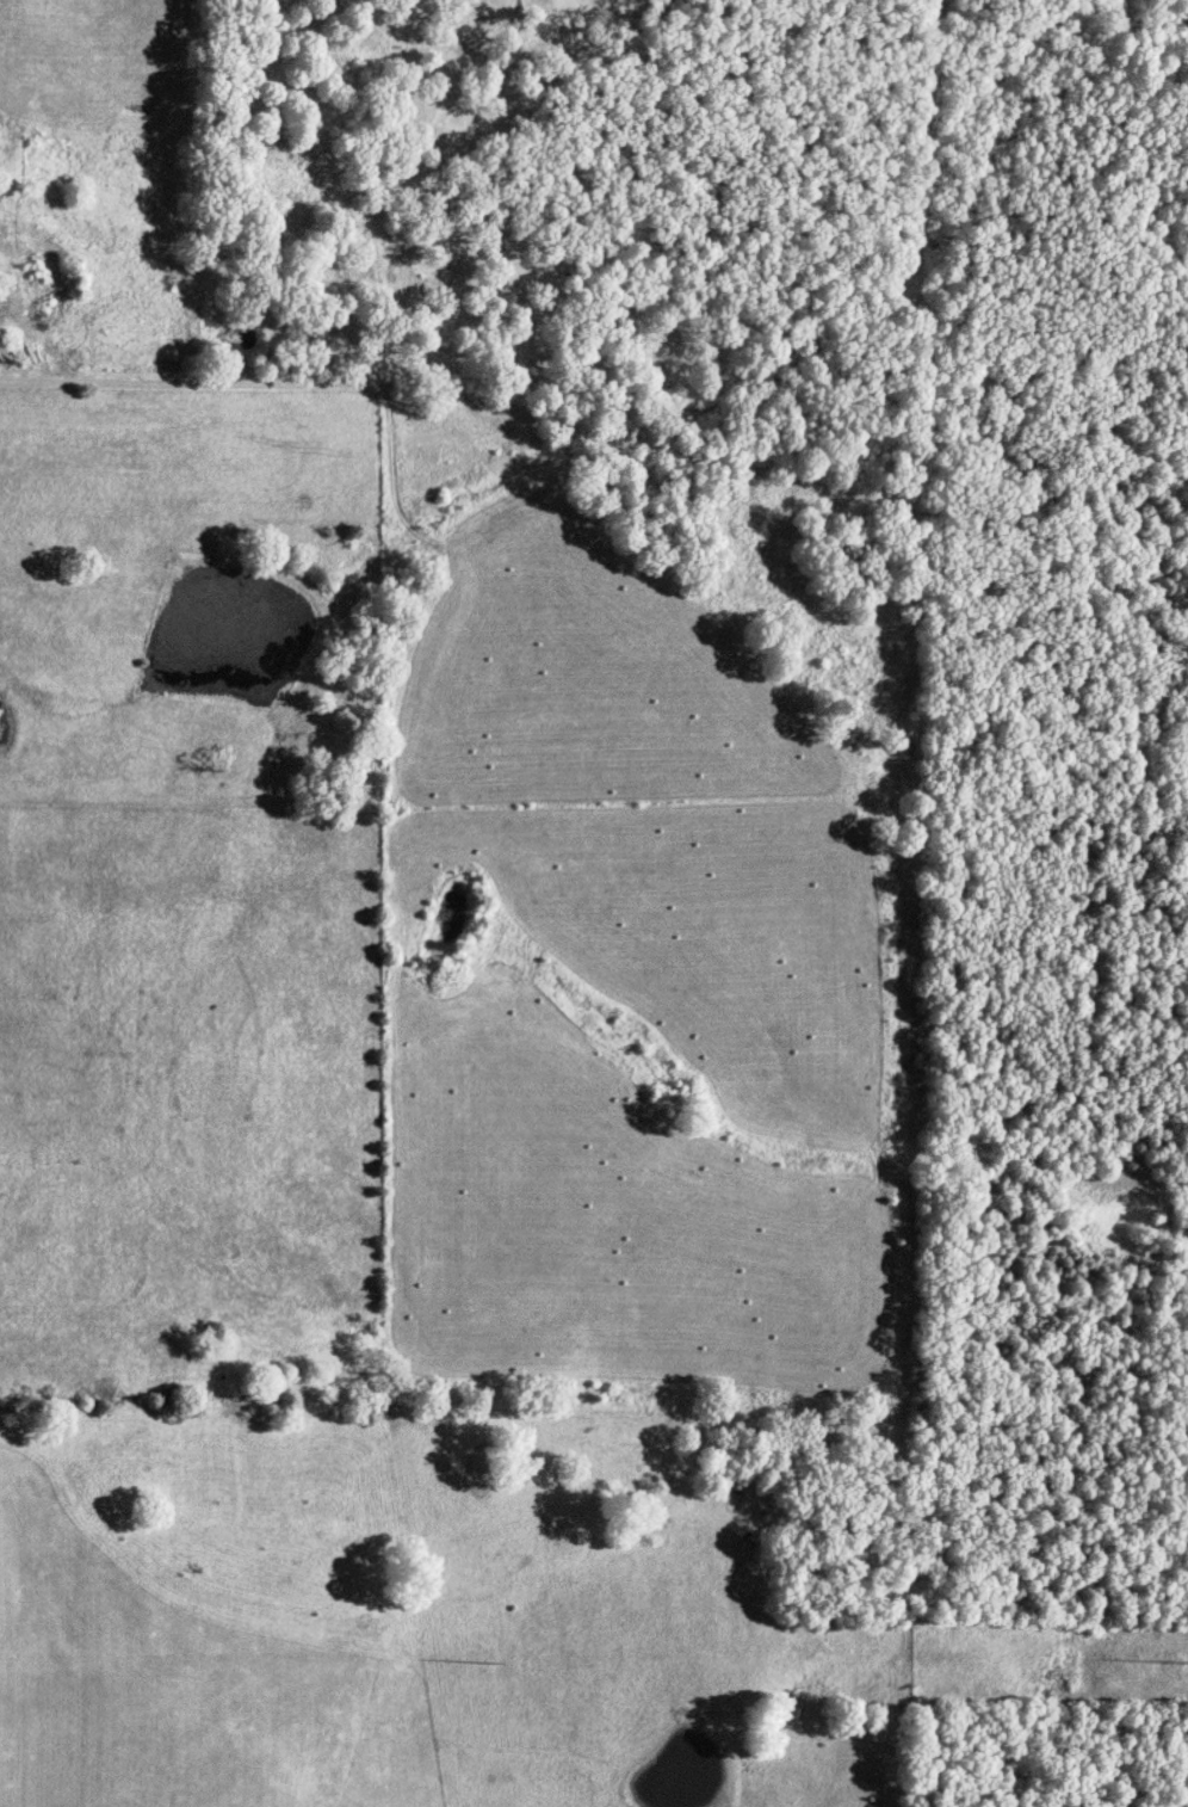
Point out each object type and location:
road: (190, 196)
road: (593, 411)

